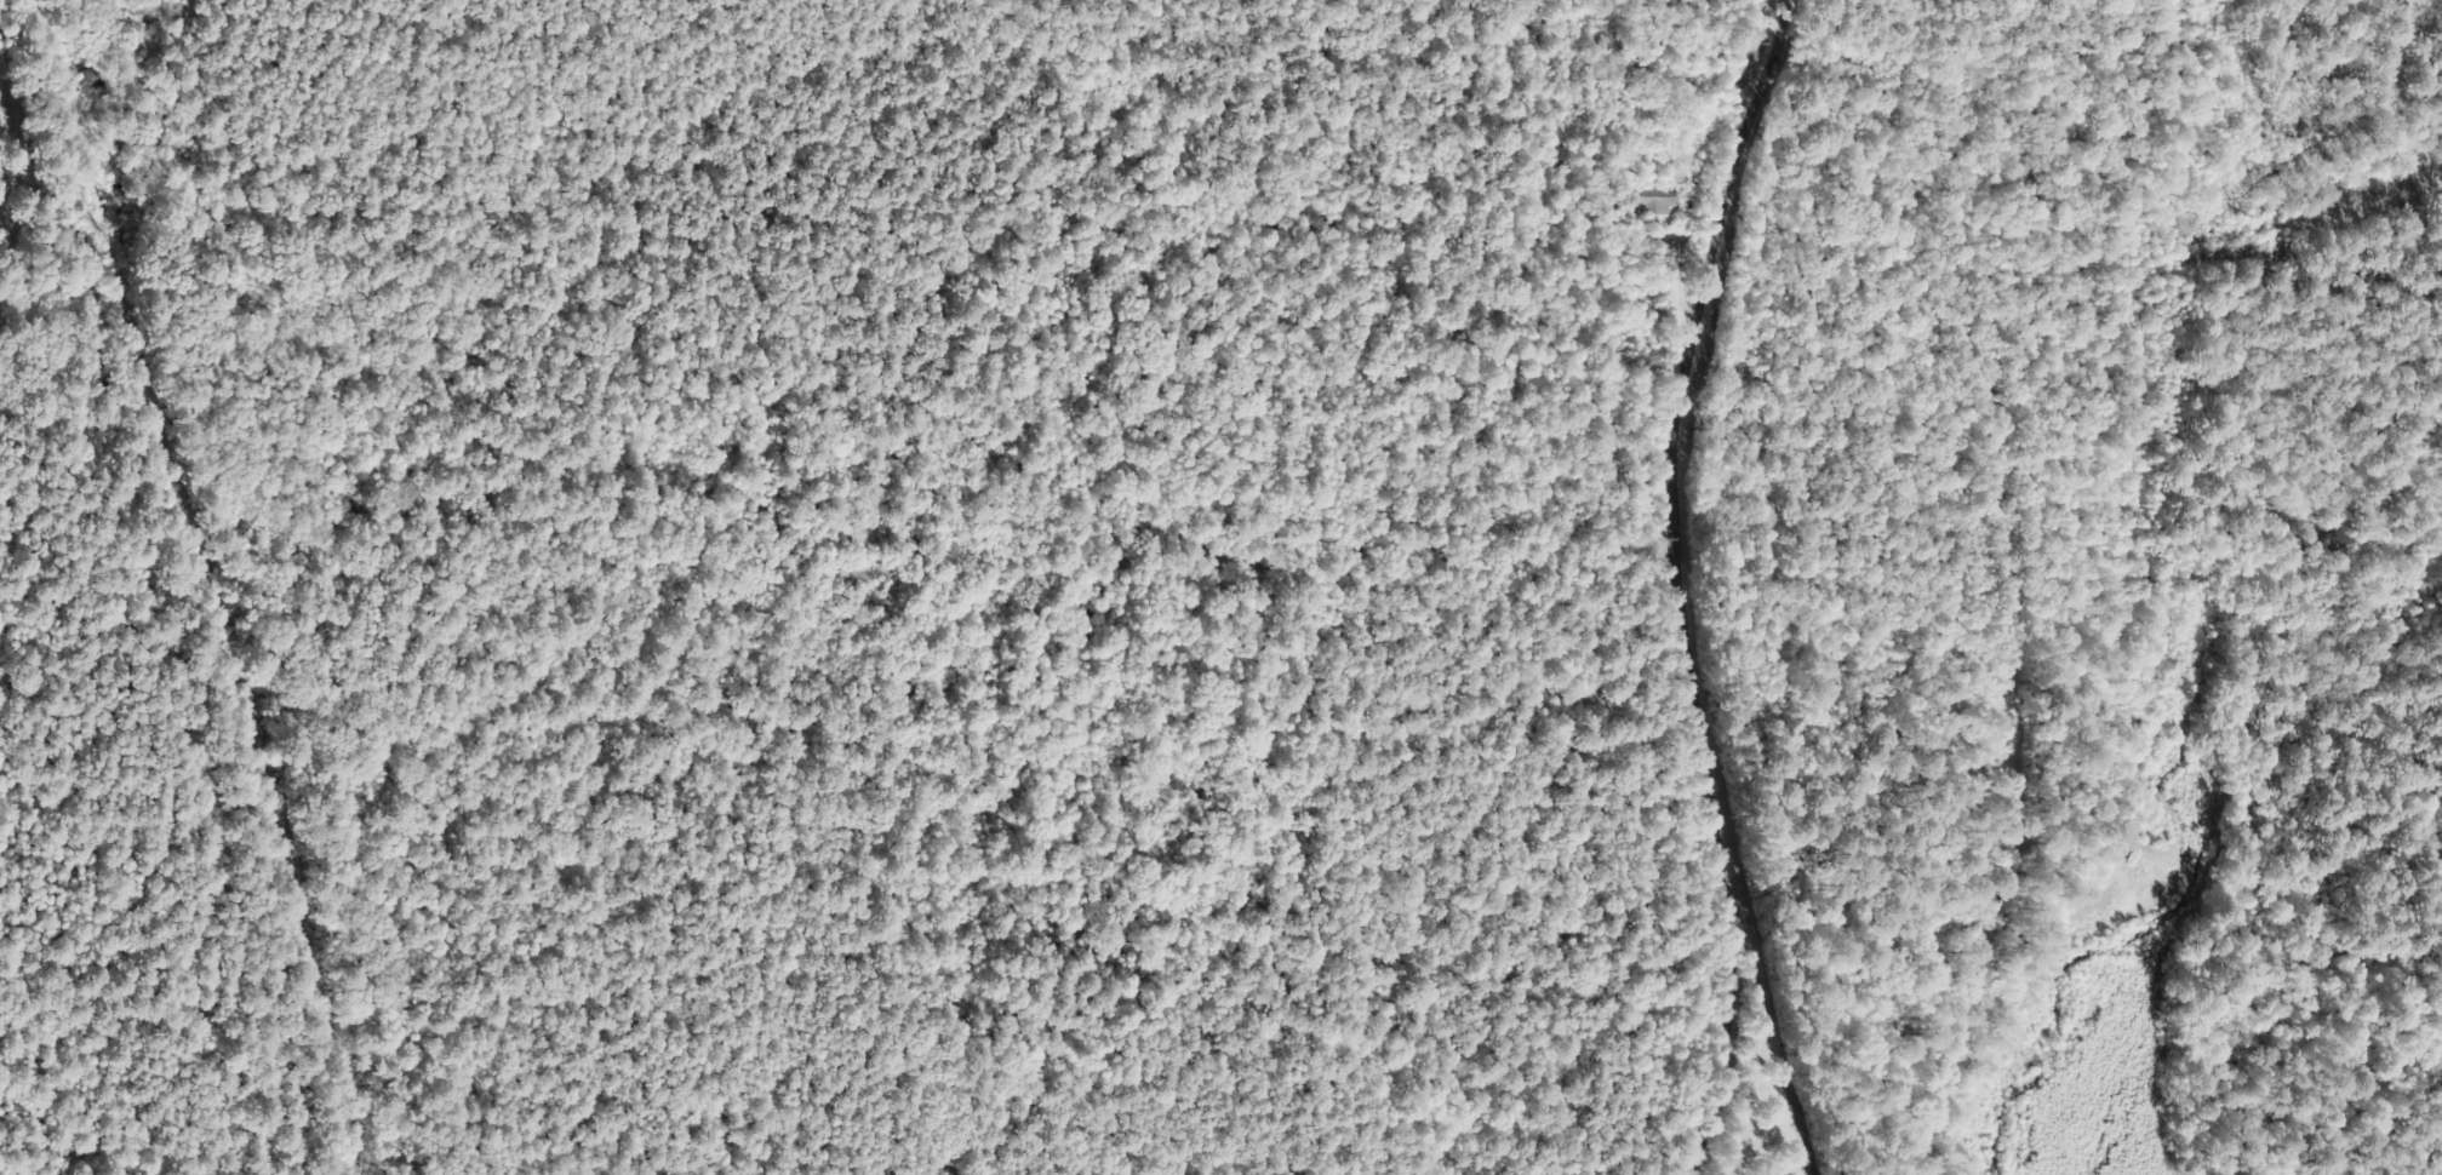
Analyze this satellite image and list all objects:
building: (1654, 201)
railway: (185, 583)
road: (1651, 594)

